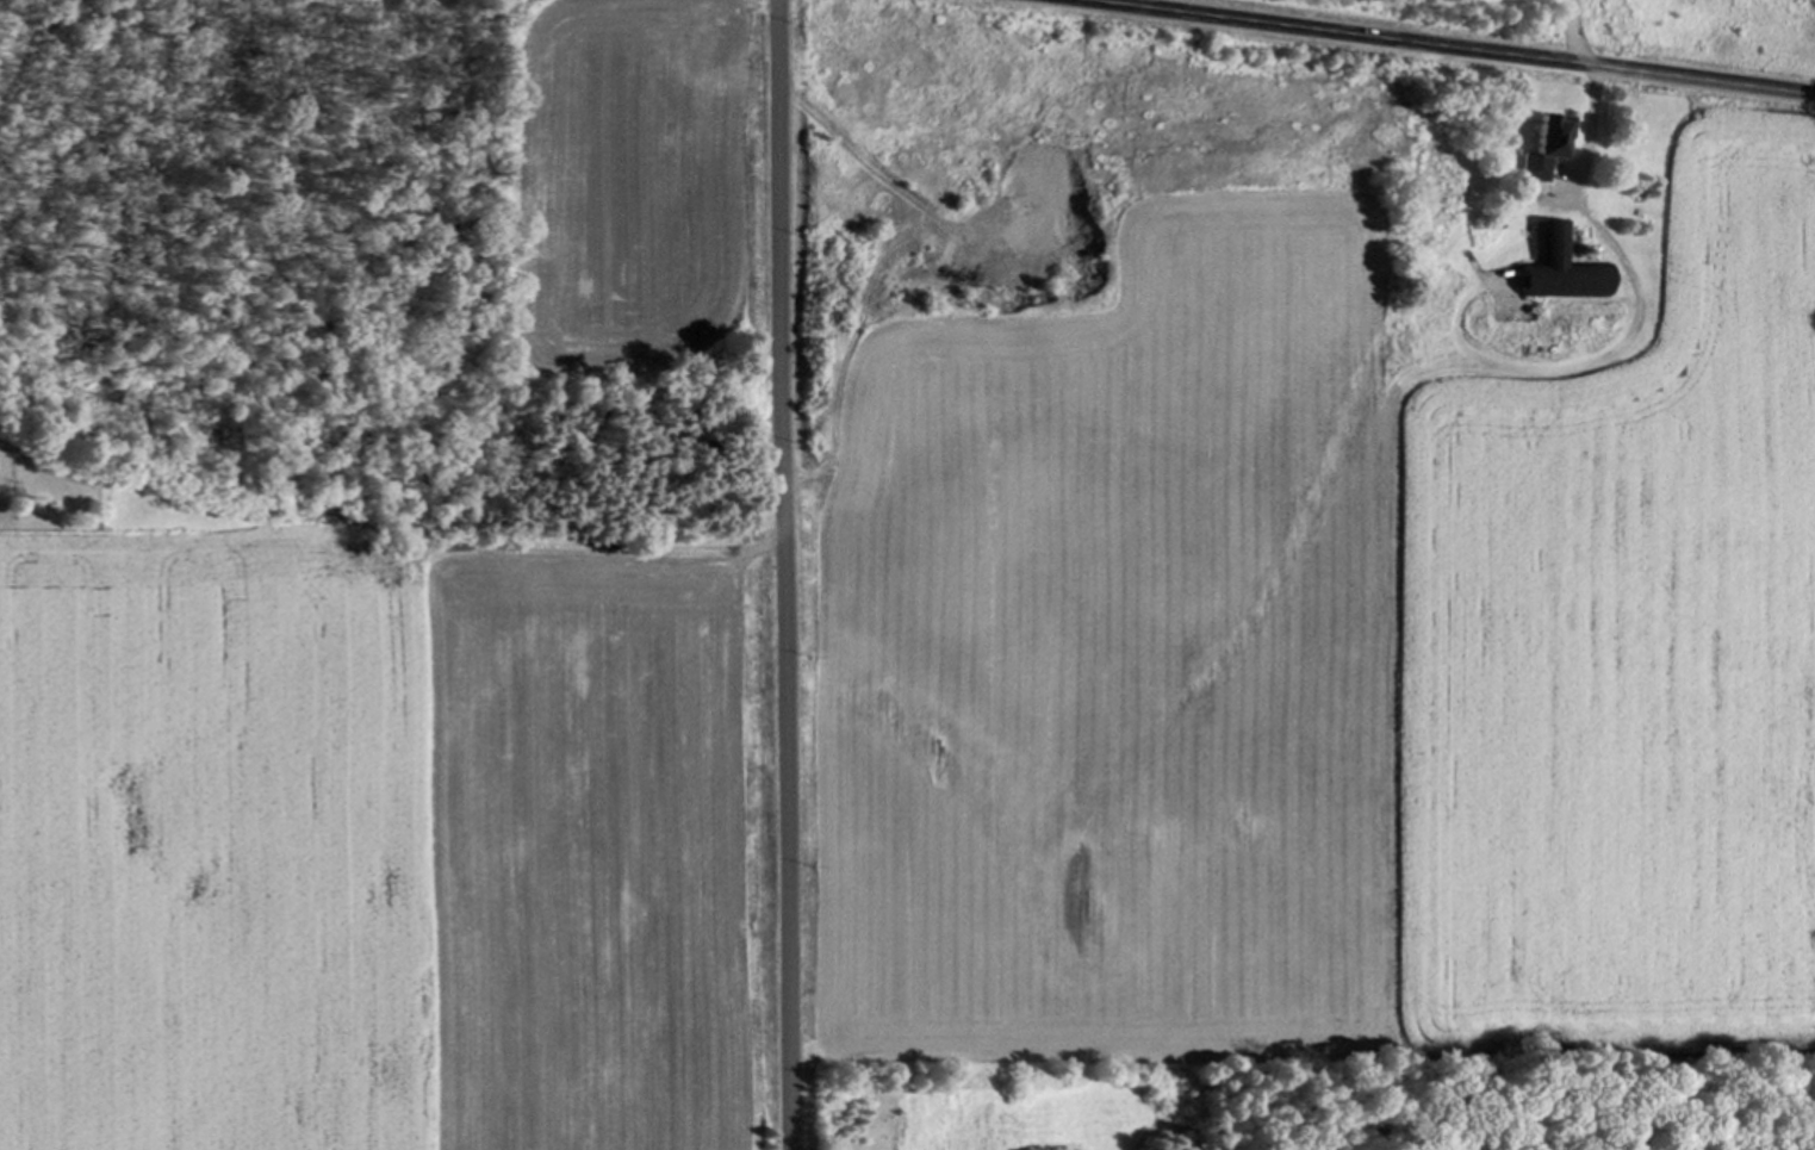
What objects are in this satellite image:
road: (1452, 46)
building: (1549, 147)
building: (1565, 268)
road: (785, 574)

